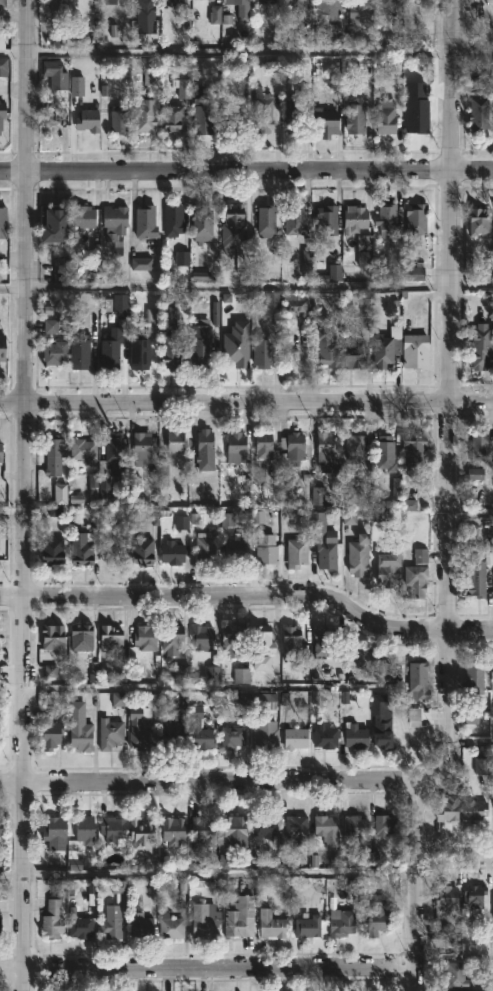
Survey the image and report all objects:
building: (210, 0)
building: (421, 0)
building: (264, 1)
building: (388, 1)
building: (2, 3)
building: (175, 3)
building: (296, 3)
building: (57, 6)
building: (240, 9)
building: (357, 11)
building: (144, 12)
building: (327, 19)
building: (2, 42)
road: (246, 54)
building: (3, 68)
building: (54, 75)
building: (262, 111)
building: (418, 111)
building: (202, 112)
building: (478, 112)
building: (2, 113)
building: (143, 115)
building: (230, 116)
building: (292, 116)
building: (355, 117)
building: (384, 117)
building: (173, 118)
building: (118, 119)
building: (87, 121)
building: (324, 121)
road: (246, 174)
building: (82, 216)
building: (354, 217)
building: (172, 219)
building: (294, 219)
building: (325, 219)
building: (386, 219)
building: (416, 219)
building: (146, 220)
building: (266, 220)
building: (200, 221)
building: (478, 221)
building: (1, 225)
building: (52, 225)
building: (115, 225)
building: (233, 229)
building: (364, 251)
building: (143, 265)
building: (60, 269)
road: (246, 288)
building: (116, 302)
building: (325, 302)
building: (296, 303)
building: (90, 311)
building: (152, 322)
building: (169, 337)
building: (203, 338)
building: (235, 344)
building: (328, 346)
building: (481, 346)
building: (2, 347)
building: (384, 349)
building: (79, 350)
building: (110, 350)
building: (414, 350)
building: (139, 351)
building: (55, 352)
building: (262, 352)
building: (353, 354)
road: (246, 403)
building: (175, 440)
building: (263, 444)
building: (293, 445)
building: (478, 445)
building: (141, 446)
building: (205, 446)
building: (354, 446)
building: (236, 447)
building: (414, 449)
building: (83, 450)
building: (384, 450)
building: (327, 452)
building: (54, 455)
building: (1, 460)
building: (110, 466)
building: (476, 475)
road: (20, 495)
building: (320, 497)
road: (448, 498)
road: (256, 514)
building: (82, 547)
building: (237, 547)
building: (205, 548)
building: (266, 549)
building: (51, 550)
building: (142, 550)
building: (327, 551)
building: (172, 552)
building: (296, 552)
building: (114, 553)
building: (359, 555)
building: (389, 567)
building: (417, 573)
building: (477, 578)
road: (250, 596)
building: (202, 636)
building: (81, 637)
building: (144, 637)
building: (53, 638)
building: (110, 638)
building: (171, 638)
building: (261, 639)
building: (231, 640)
building: (290, 641)
building: (323, 642)
building: (373, 663)
building: (262, 664)
building: (474, 678)
building: (417, 682)
road: (240, 693)
building: (263, 701)
building: (382, 722)
building: (168, 723)
building: (79, 727)
building: (50, 730)
building: (199, 730)
building: (138, 731)
building: (109, 732)
building: (265, 735)
road: (469, 735)
building: (294, 736)
building: (354, 736)
building: (231, 737)
building: (324, 737)
building: (482, 768)
road: (214, 779)
building: (492, 794)
building: (449, 808)
building: (473, 809)
building: (386, 825)
building: (355, 826)
building: (1, 827)
building: (265, 827)
building: (113, 829)
building: (235, 829)
building: (297, 829)
building: (326, 829)
building: (85, 830)
building: (173, 831)
building: (203, 831)
building: (54, 833)
building: (141, 834)
road: (455, 854)
road: (208, 875)
building: (473, 895)
building: (446, 900)
building: (113, 913)
building: (378, 916)
building: (240, 918)
building: (52, 920)
building: (203, 922)
building: (270, 924)
building: (342, 924)
building: (79, 925)
building: (140, 925)
building: (169, 926)
building: (307, 927)
road: (454, 957)
road: (207, 965)
building: (456, 975)
building: (440, 990)
building: (485, 990)

